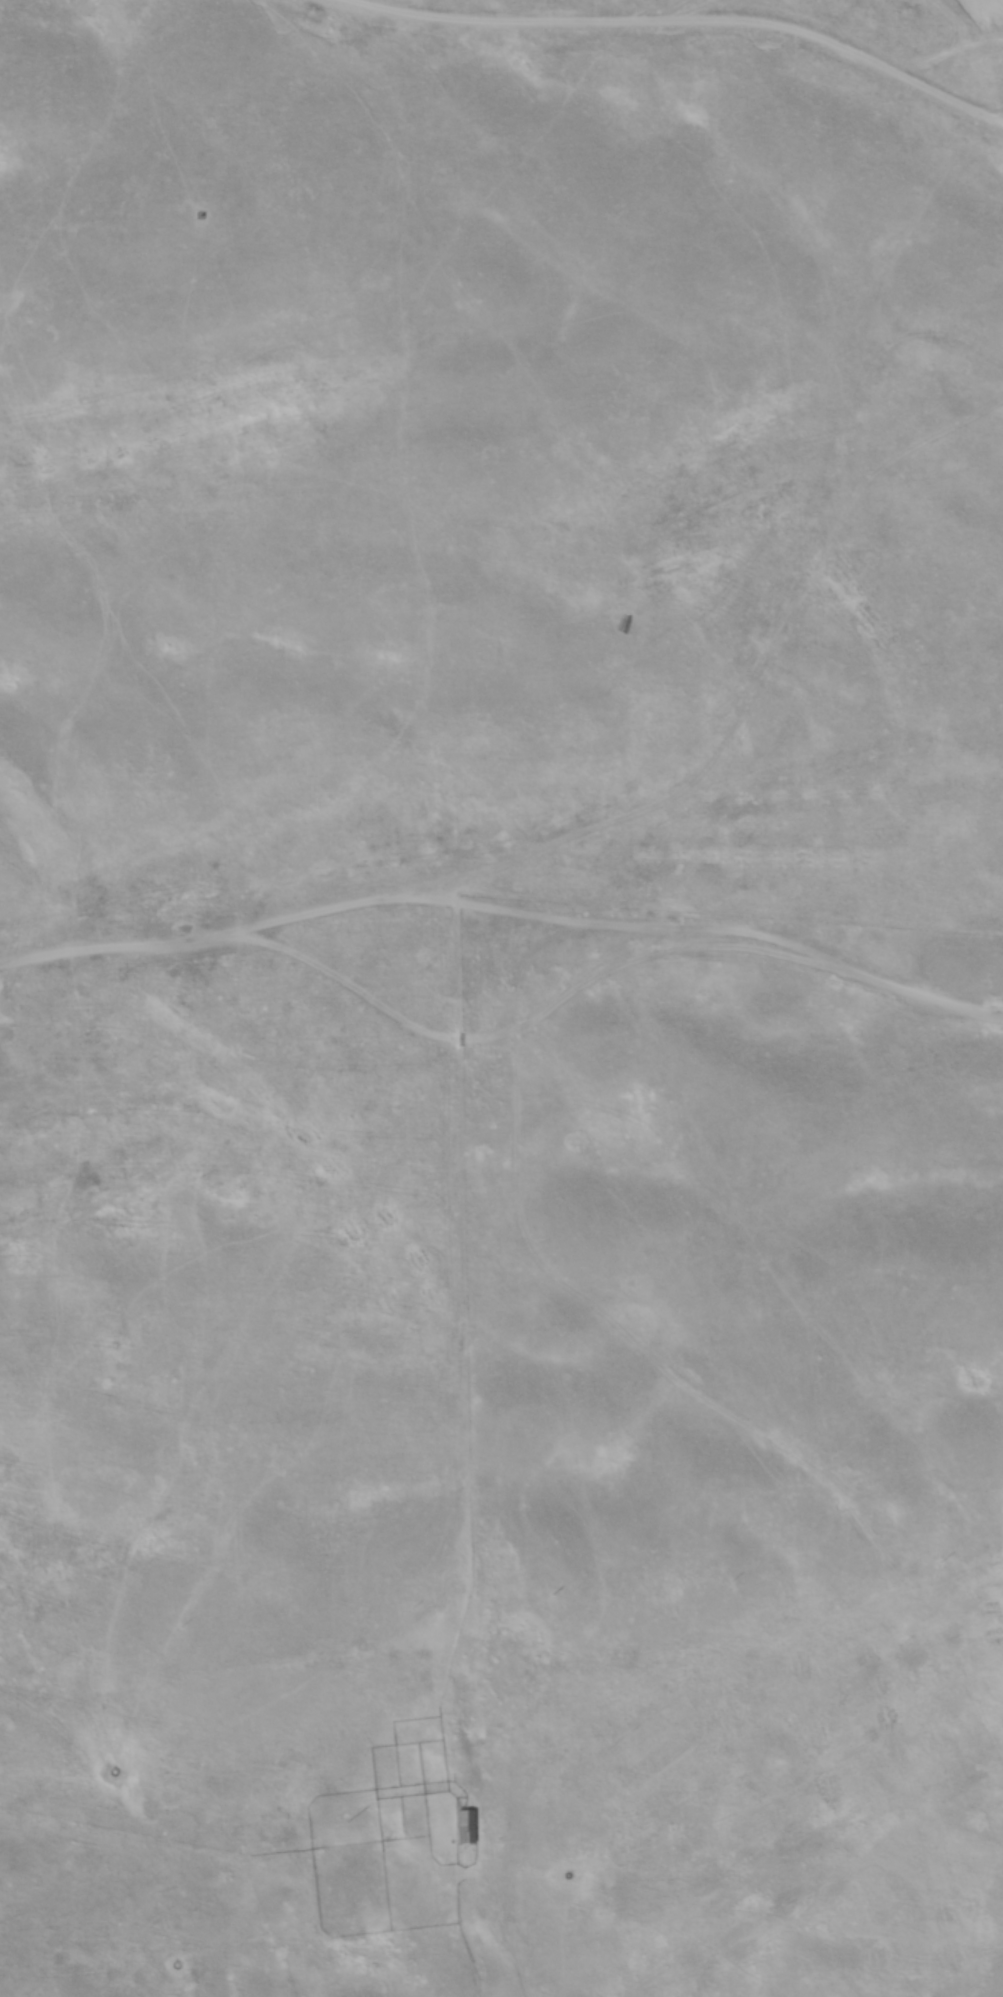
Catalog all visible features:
road: (670, 29)
road: (598, 836)

